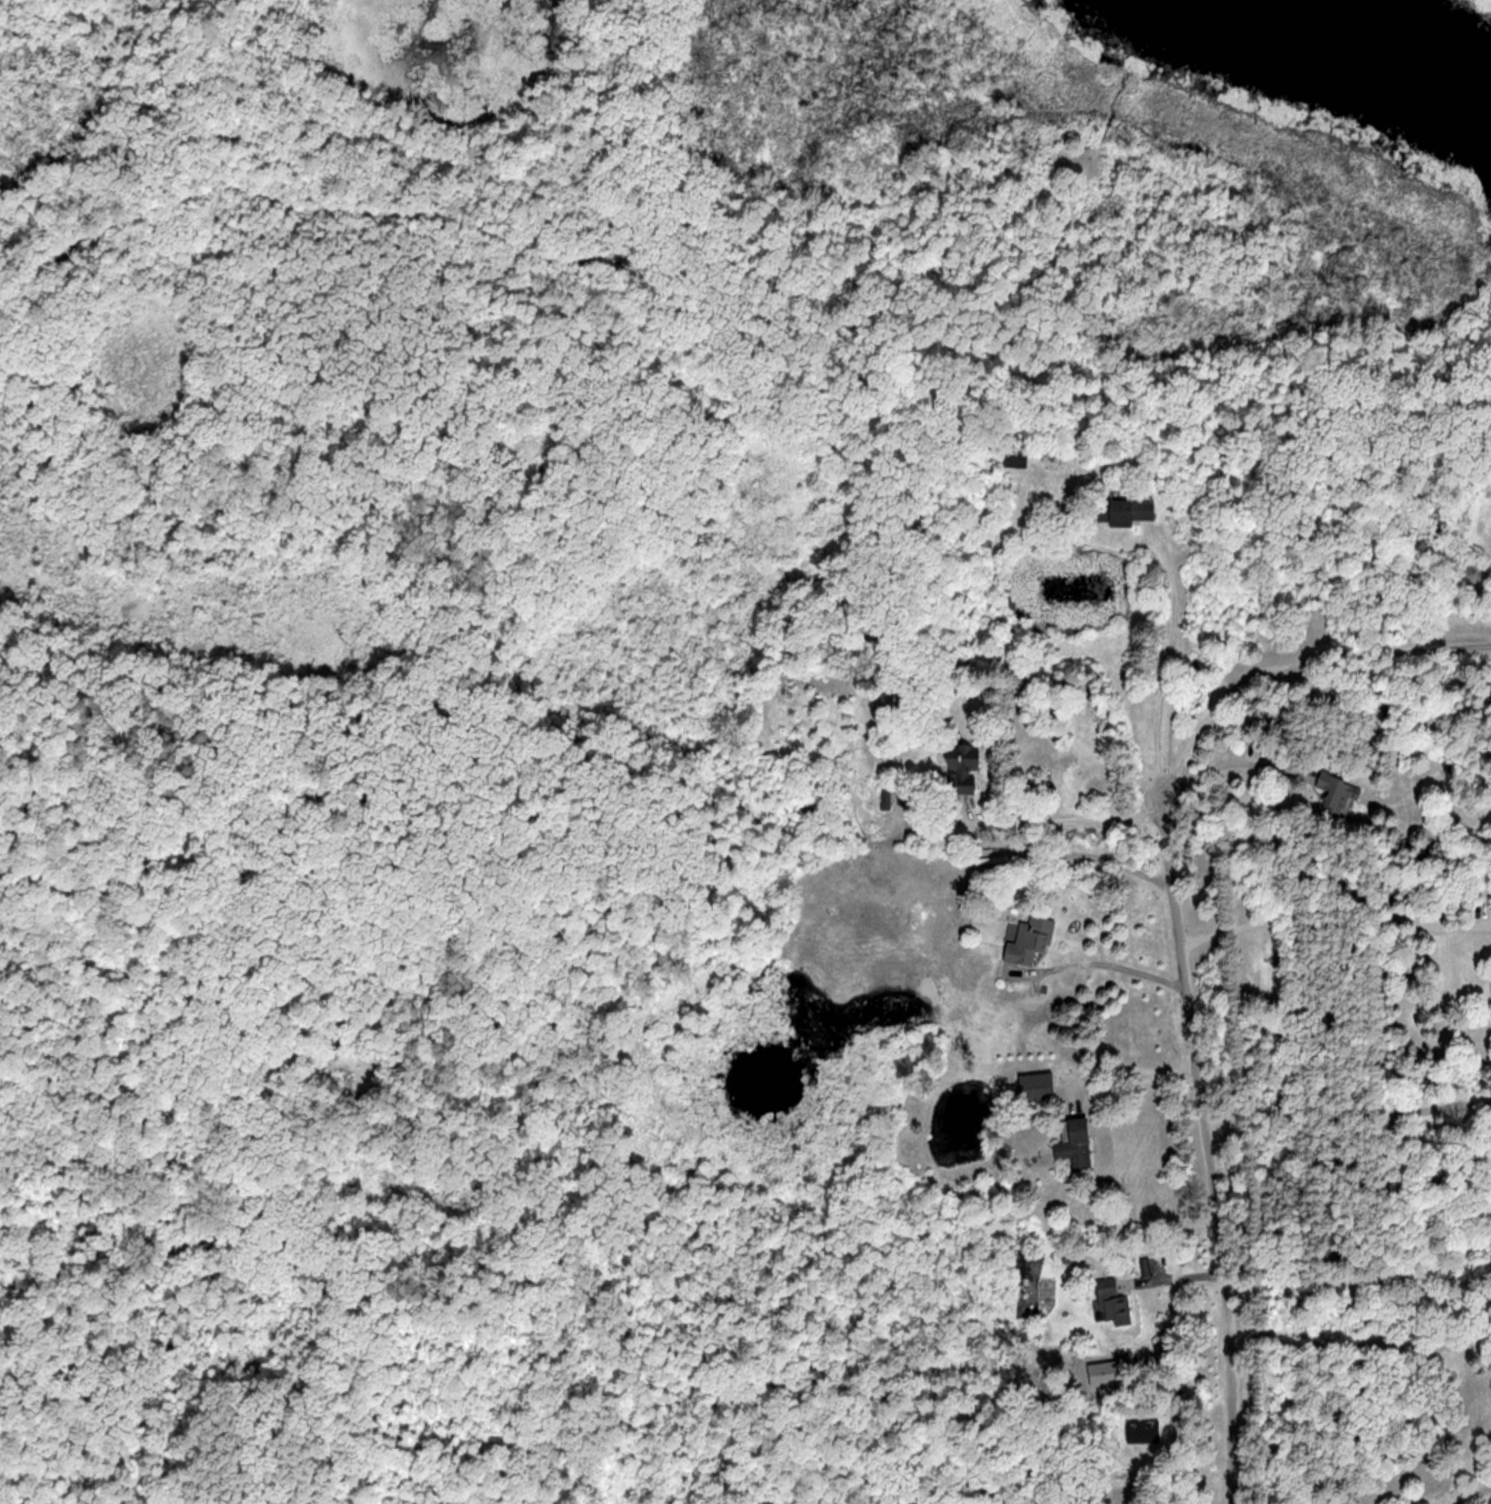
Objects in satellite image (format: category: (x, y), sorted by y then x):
road: (599, 252)
building: (1014, 457)
building: (1123, 510)
road: (1171, 650)
park: (553, 669)
road: (1238, 753)
building: (960, 769)
building: (1335, 792)
building: (884, 797)
road: (1068, 821)
building: (1026, 943)
road: (1188, 952)
road: (1114, 953)
road: (1144, 1068)
building: (1034, 1091)
road: (1352, 1105)
building: (1073, 1145)
building: (1112, 1302)
building: (1142, 1430)
road: (1160, 1460)

